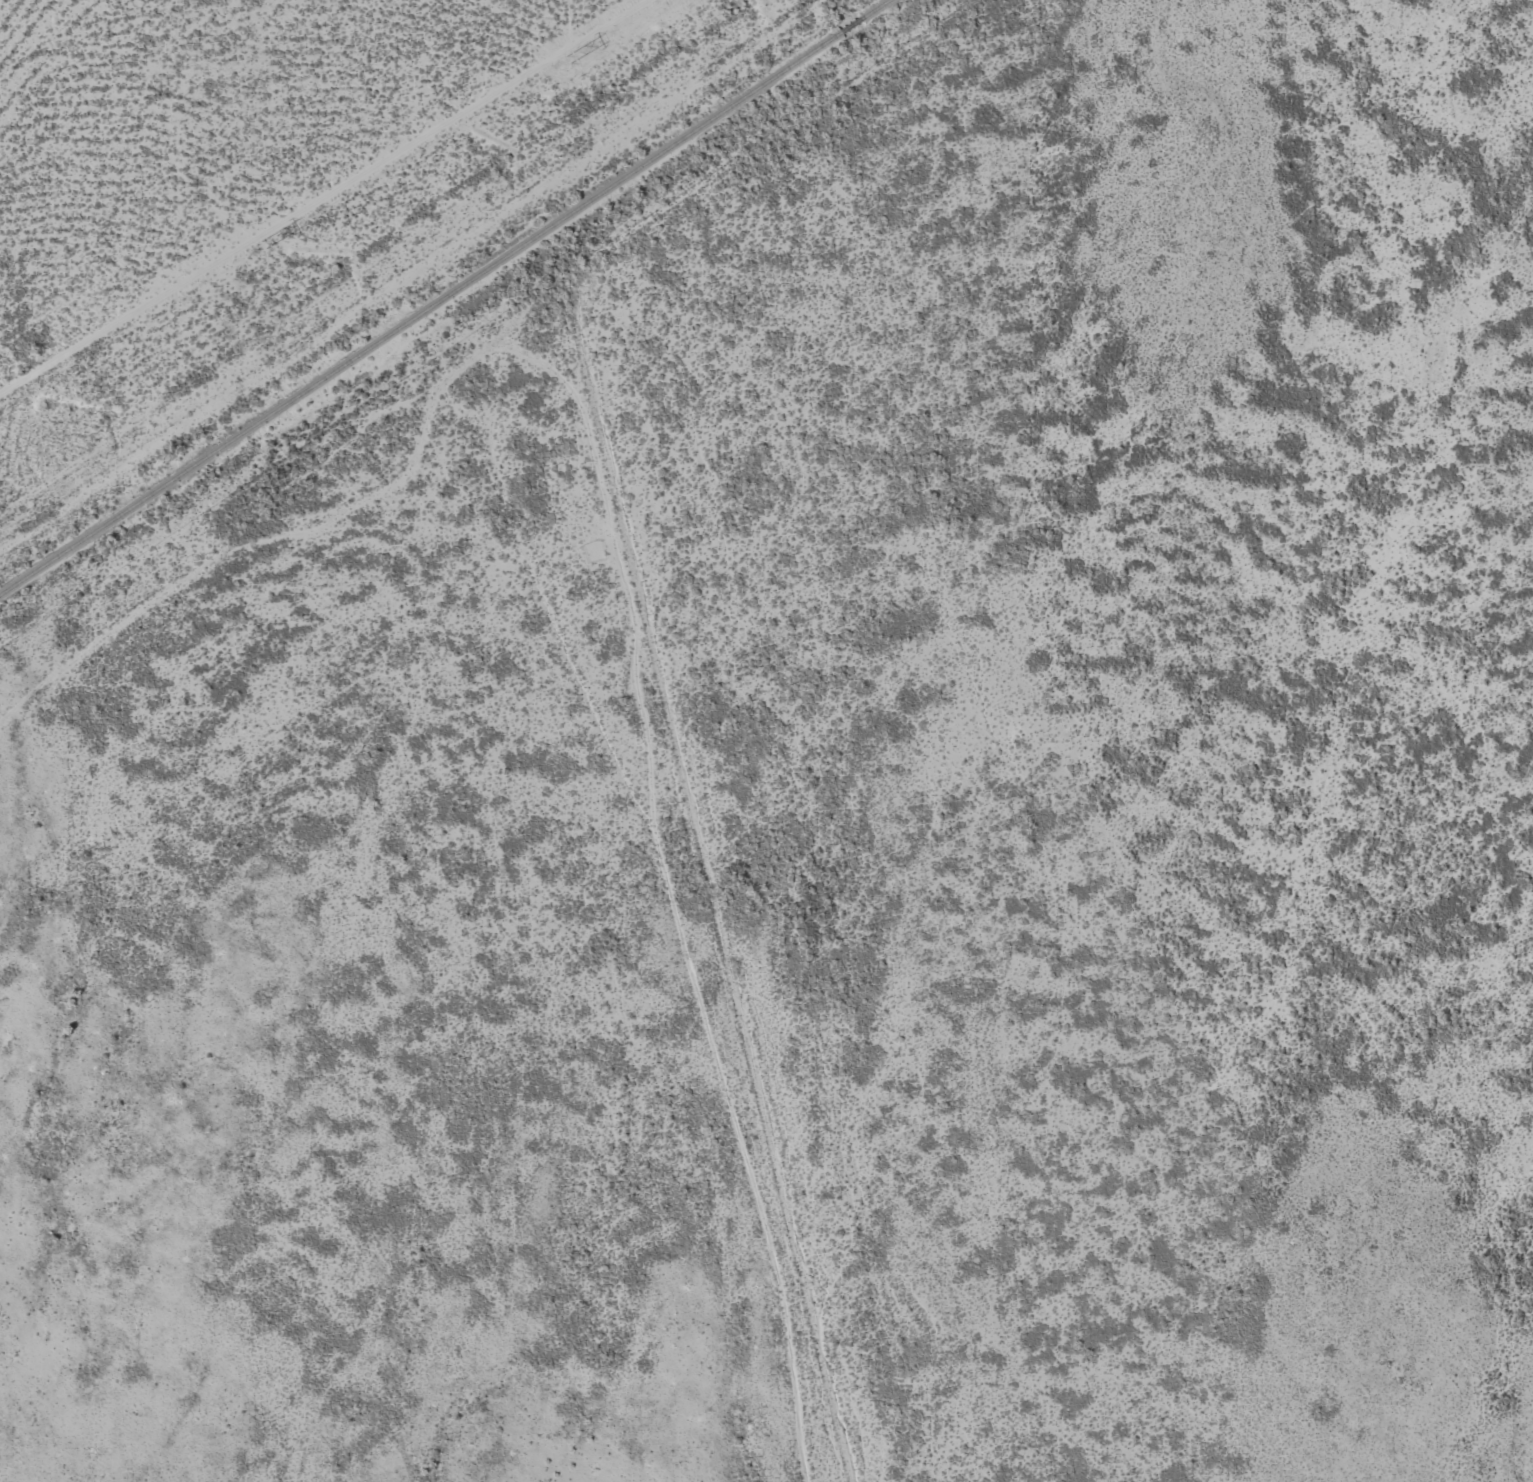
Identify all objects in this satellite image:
railway: (875, 9)
railway: (851, 25)
power tower: (568, 59)
power tower: (262, 245)
road: (389, 264)
railway: (420, 313)
road: (291, 524)
road: (665, 611)

